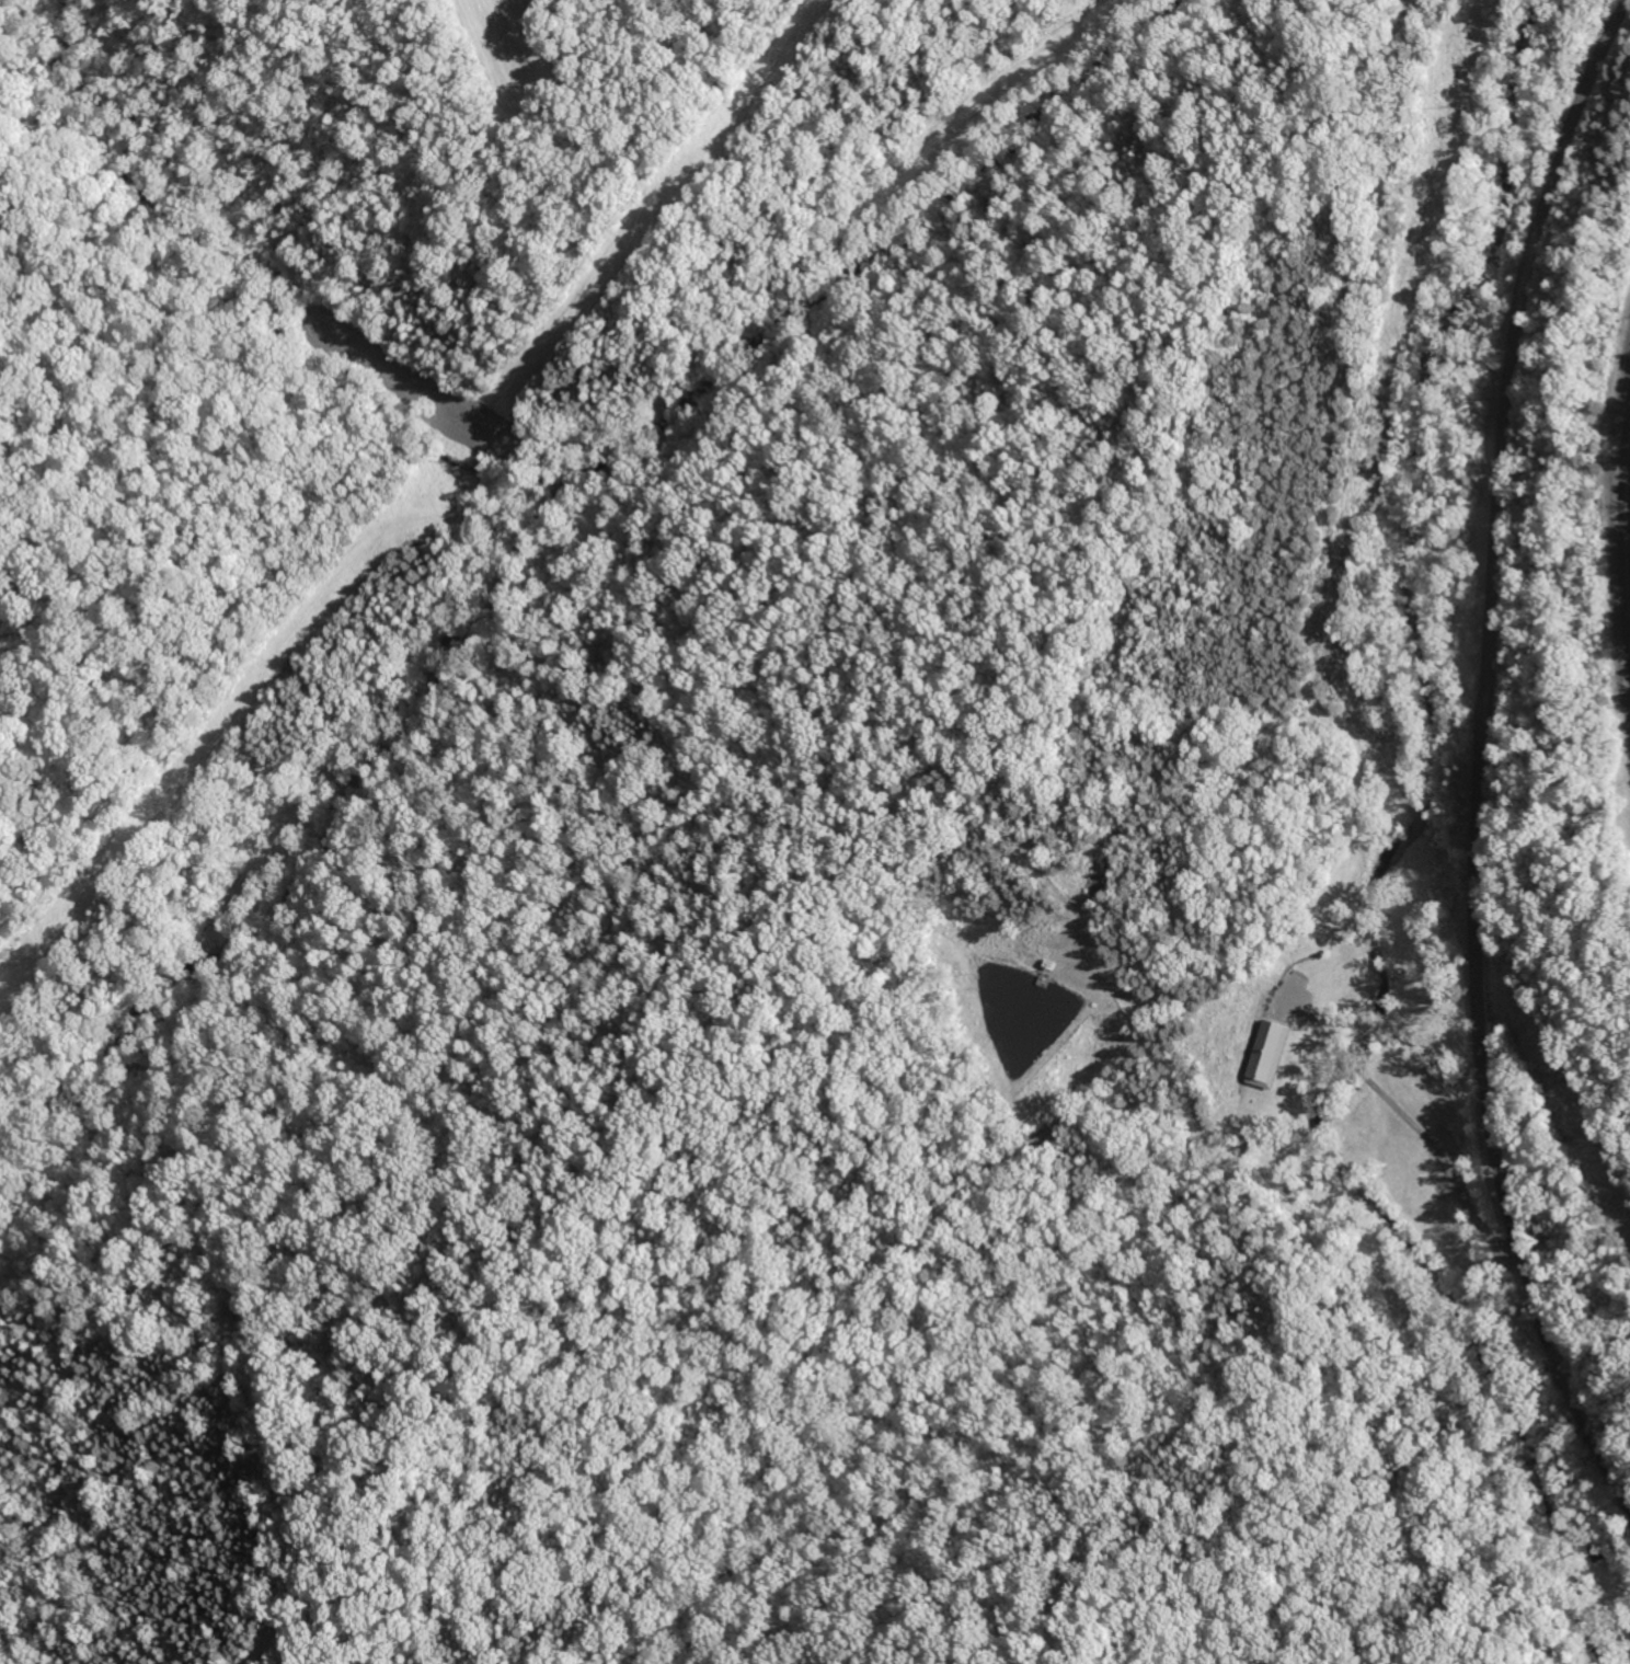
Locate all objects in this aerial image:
road: (1623, 536)
road: (1478, 760)
building: (1271, 1053)
road: (1415, 1128)

